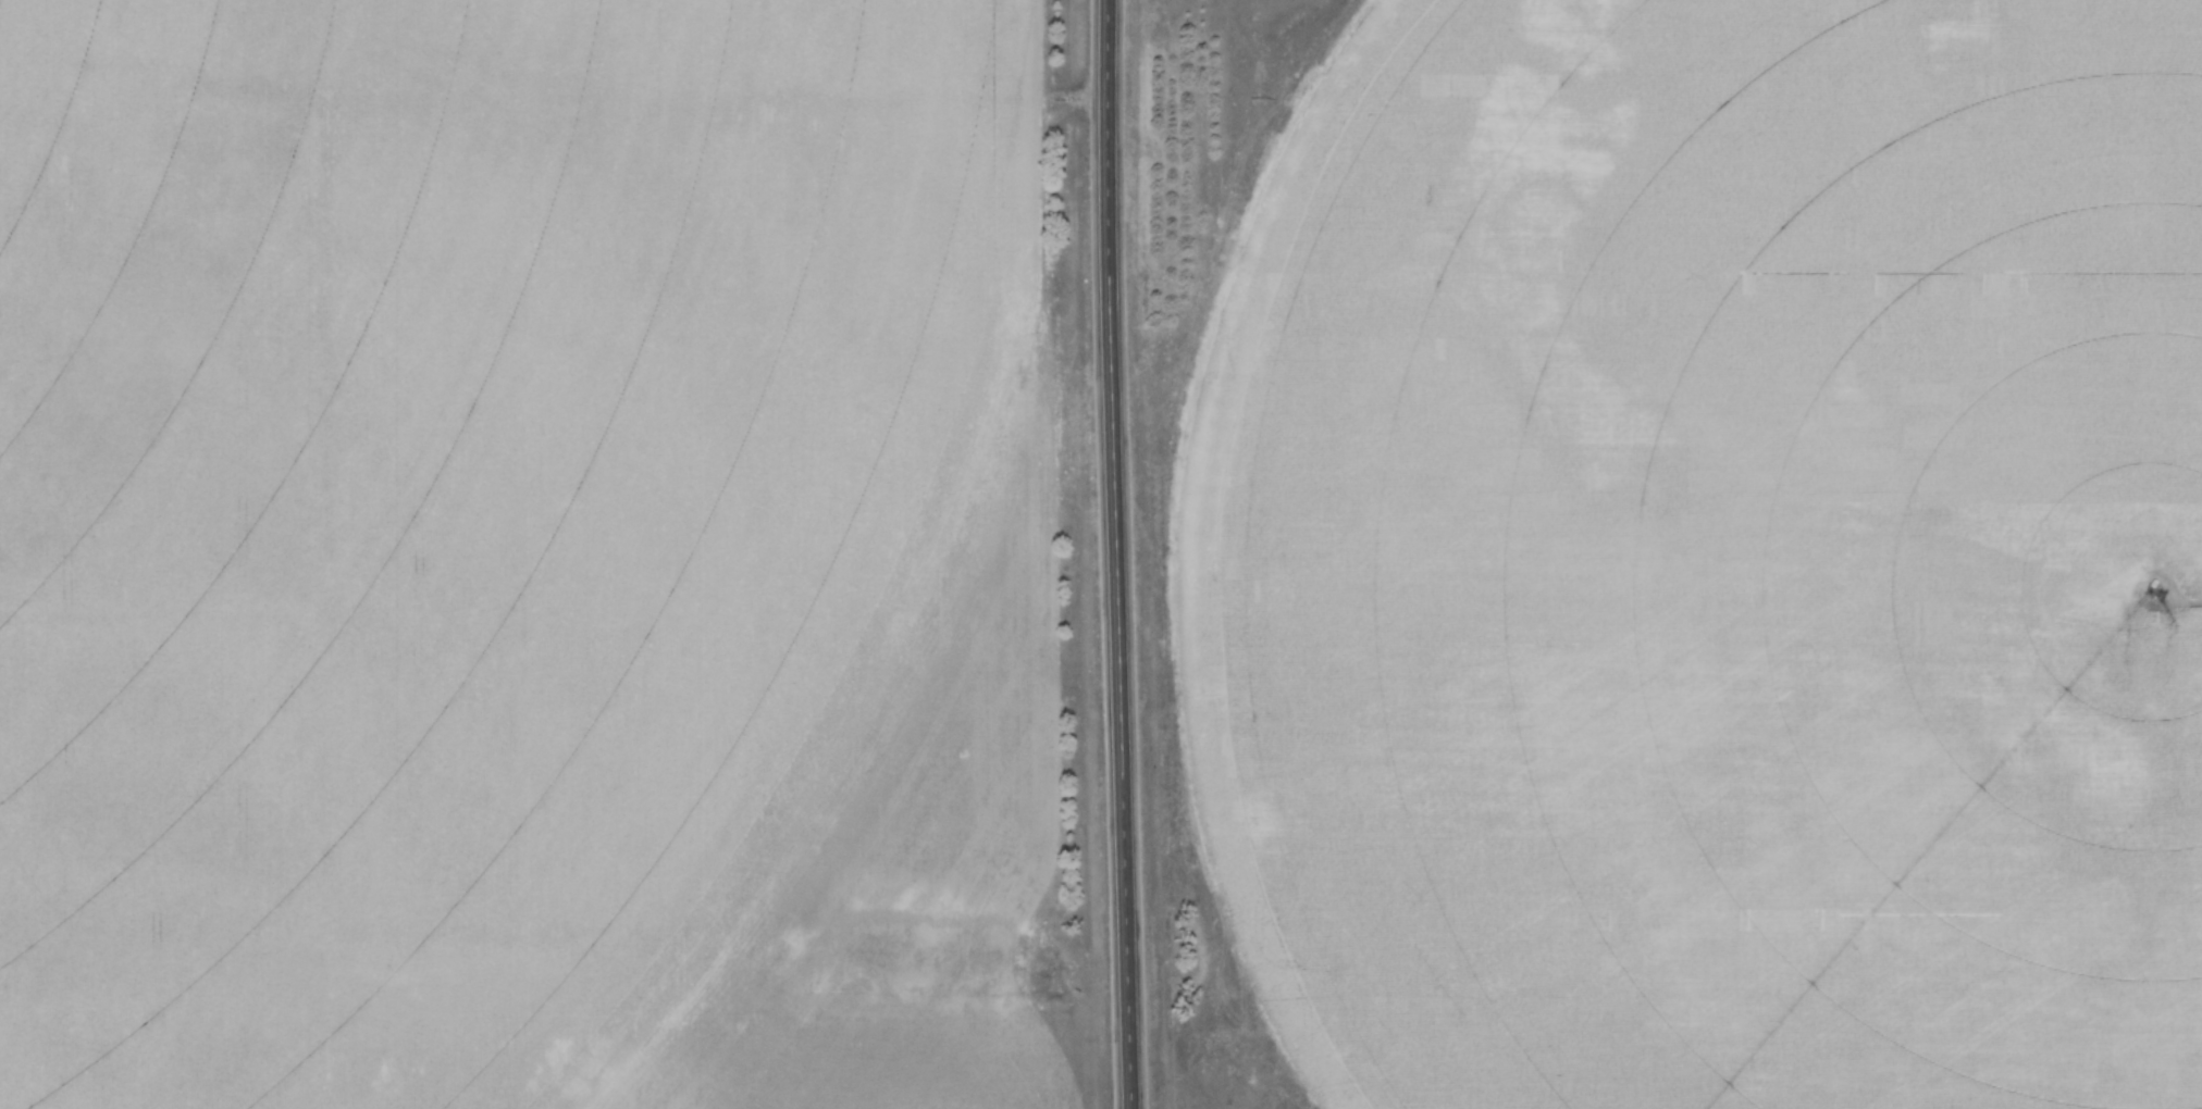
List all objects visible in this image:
road: (1118, 554)

